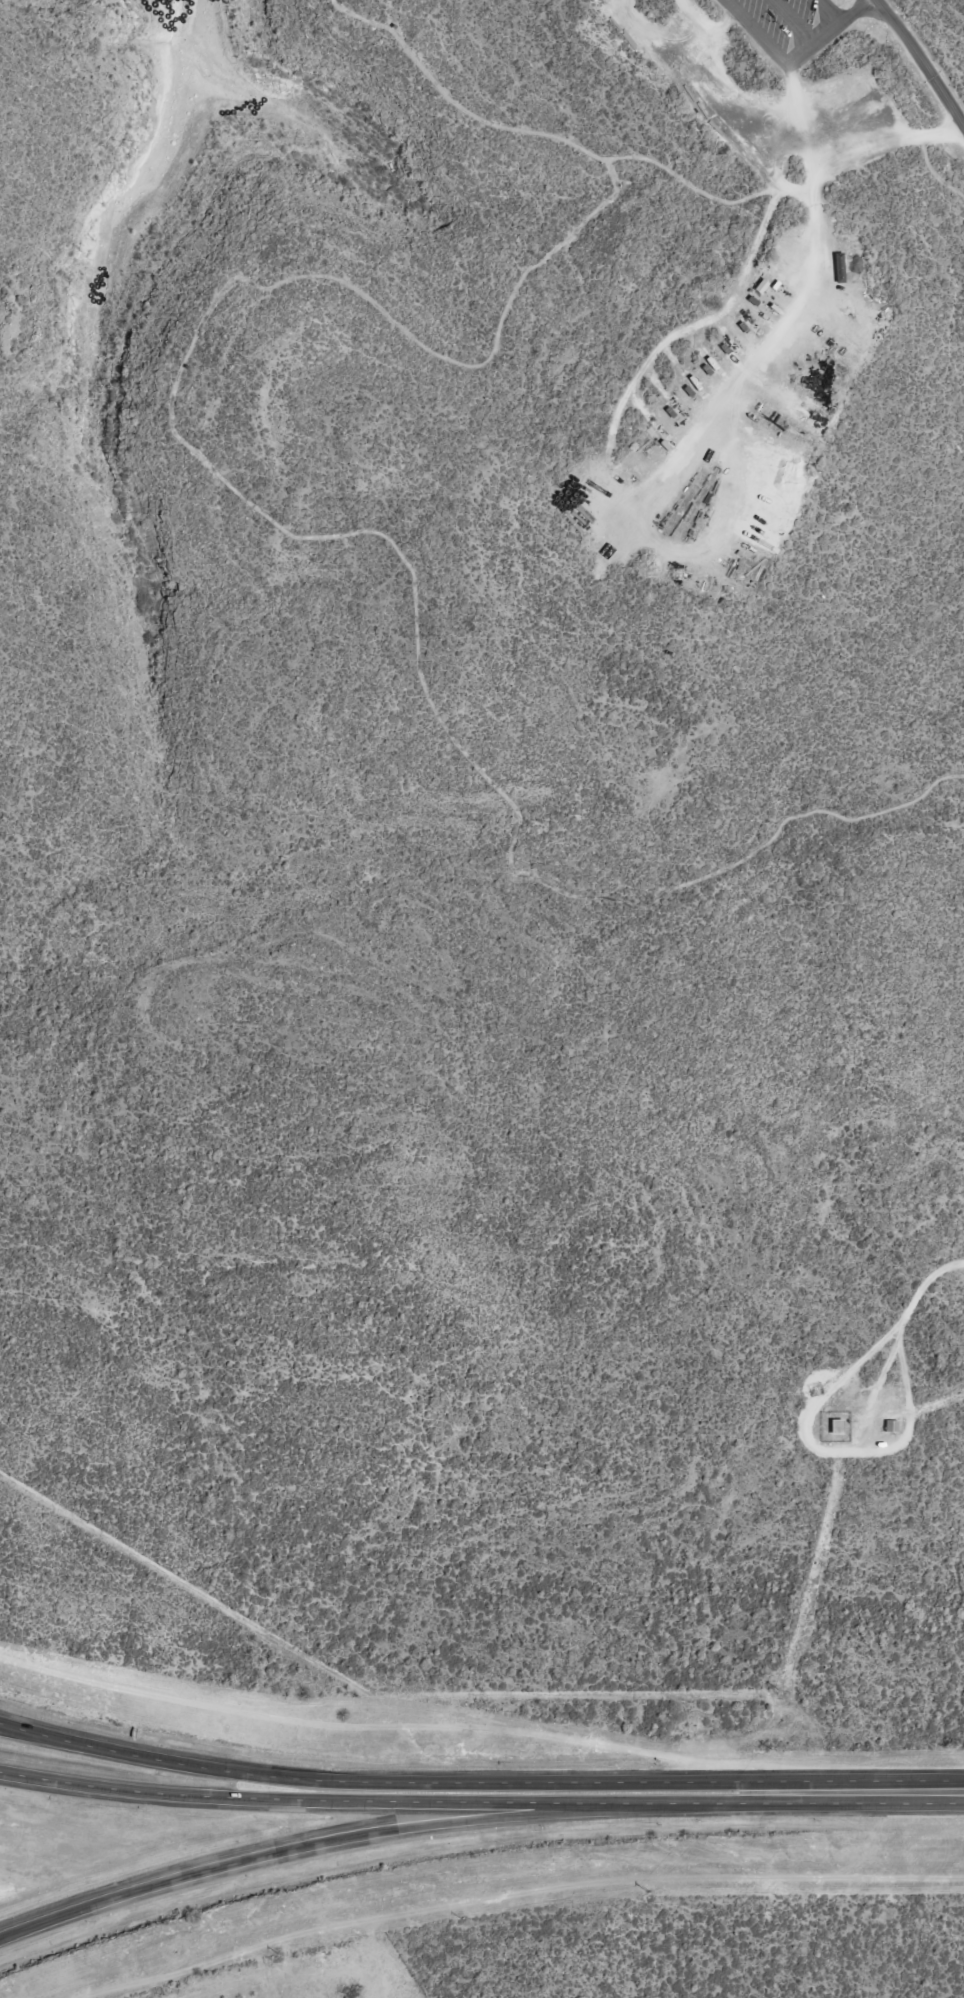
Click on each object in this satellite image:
road: (831, 11)
road: (791, 24)
road: (922, 61)
road: (795, 63)
road: (887, 149)
road: (619, 514)
road: (721, 519)
road: (926, 1284)
road: (835, 1451)
road: (367, 1779)
road: (852, 1794)
road: (369, 1807)
road: (288, 1853)

